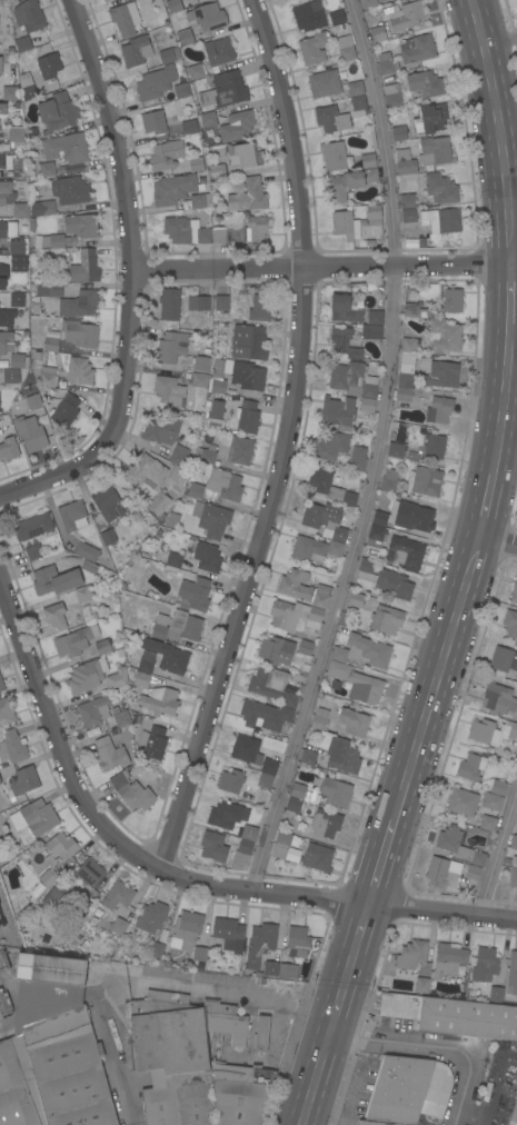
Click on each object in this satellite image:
building: (19, 0)
building: (102, 0)
building: (106, 0)
building: (173, 6)
building: (368, 7)
building: (29, 16)
building: (309, 16)
building: (406, 16)
building: (209, 17)
building: (125, 19)
building: (337, 19)
building: (377, 33)
building: (185, 37)
road: (499, 42)
building: (22, 43)
building: (312, 48)
building: (345, 48)
building: (418, 48)
building: (136, 50)
building: (218, 51)
building: (169, 54)
building: (386, 63)
building: (1, 64)
building: (49, 66)
building: (196, 70)
building: (156, 82)
building: (325, 83)
building: (425, 83)
building: (27, 86)
building: (356, 88)
building: (181, 90)
building: (225, 90)
building: (10, 93)
building: (392, 94)
building: (358, 102)
building: (2, 111)
building: (58, 111)
building: (208, 118)
building: (430, 118)
building: (331, 119)
building: (155, 121)
building: (237, 126)
building: (189, 127)
road: (381, 131)
building: (399, 132)
building: (16, 135)
road: (113, 135)
building: (67, 148)
building: (435, 150)
building: (166, 155)
building: (238, 155)
building: (335, 156)
building: (368, 160)
building: (405, 161)
building: (195, 163)
building: (47, 168)
building: (217, 171)
building: (350, 182)
building: (440, 188)
building: (172, 189)
building: (4, 190)
building: (71, 190)
building: (248, 196)
building: (198, 200)
building: (407, 200)
building: (42, 208)
building: (21, 209)
building: (374, 215)
building: (409, 215)
building: (440, 219)
building: (345, 223)
building: (81, 225)
building: (3, 228)
building: (256, 228)
building: (178, 230)
building: (219, 235)
building: (203, 236)
building: (410, 240)
building: (57, 241)
building: (19, 246)
building: (83, 266)
road: (321, 266)
building: (3, 272)
building: (54, 289)
building: (17, 299)
building: (451, 299)
building: (221, 301)
building: (199, 302)
building: (80, 303)
building: (169, 303)
building: (259, 308)
building: (344, 309)
building: (415, 310)
building: (374, 317)
building: (1, 318)
building: (371, 331)
building: (80, 332)
building: (444, 335)
building: (51, 339)
building: (6, 341)
building: (248, 342)
building: (344, 342)
building: (408, 345)
building: (171, 347)
building: (19, 360)
building: (201, 362)
road: (511, 368)
building: (79, 370)
building: (406, 370)
building: (441, 374)
building: (11, 375)
building: (48, 376)
building: (248, 376)
building: (217, 377)
building: (199, 379)
building: (352, 379)
building: (169, 390)
building: (404, 394)
building: (34, 401)
road: (505, 404)
building: (367, 405)
building: (216, 409)
building: (439, 409)
building: (66, 410)
building: (0, 411)
building: (338, 411)
road: (115, 417)
building: (247, 417)
building: (161, 429)
building: (30, 432)
road: (282, 441)
building: (331, 446)
building: (435, 446)
building: (9, 448)
building: (241, 449)
building: (395, 449)
building: (179, 455)
building: (208, 456)
building: (358, 458)
building: (145, 471)
building: (178, 475)
building: (389, 480)
building: (425, 481)
building: (219, 485)
building: (330, 487)
building: (106, 502)
building: (159, 502)
building: (320, 515)
building: (72, 516)
building: (405, 516)
building: (211, 519)
building: (173, 520)
building: (32, 526)
building: (339, 534)
building: (376, 536)
building: (108, 537)
road: (497, 539)
building: (335, 548)
building: (308, 549)
building: (34, 551)
building: (86, 551)
building: (407, 551)
building: (206, 556)
building: (172, 561)
building: (89, 566)
building: (366, 569)
building: (54, 579)
road: (339, 583)
building: (394, 584)
building: (304, 588)
building: (514, 591)
building: (195, 593)
building: (84, 596)
building: (356, 599)
building: (54, 615)
building: (295, 615)
building: (386, 619)
building: (510, 623)
building: (187, 625)
building: (159, 626)
building: (74, 640)
building: (103, 646)
building: (305, 647)
building: (277, 650)
building: (369, 650)
building: (339, 654)
building: (168, 656)
building: (504, 659)
building: (146, 661)
building: (87, 675)
building: (117, 678)
building: (140, 679)
building: (268, 683)
building: (357, 683)
building: (1, 684)
building: (498, 698)
building: (289, 699)
building: (159, 700)
building: (95, 710)
building: (6, 711)
building: (262, 711)
building: (120, 716)
building: (320, 718)
building: (354, 721)
building: (491, 731)
building: (153, 741)
road: (57, 745)
building: (12, 746)
building: (246, 749)
building: (109, 754)
building: (342, 755)
building: (308, 757)
building: (269, 766)
building: (471, 766)
building: (0, 780)
building: (231, 780)
building: (265, 780)
building: (21, 781)
building: (498, 787)
building: (131, 790)
building: (302, 792)
building: (336, 792)
building: (463, 802)
building: (491, 802)
building: (299, 806)
building: (227, 815)
building: (39, 816)
building: (326, 823)
building: (488, 823)
building: (249, 833)
building: (483, 833)
building: (513, 842)
building: (281, 844)
building: (61, 846)
building: (213, 846)
building: (459, 846)
road: (382, 849)
road: (498, 853)
building: (241, 855)
building: (317, 857)
building: (440, 869)
building: (89, 872)
building: (473, 872)
building: (513, 873)
building: (48, 878)
building: (61, 895)
building: (118, 895)
road: (339, 899)
building: (152, 916)
road: (360, 925)
building: (119, 926)
building: (186, 928)
building: (227, 932)
building: (260, 943)
building: (156, 949)
building: (294, 950)
building: (200, 953)
building: (411, 954)
building: (449, 959)
building: (484, 965)
building: (270, 968)
road: (349, 968)
building: (513, 974)
building: (421, 984)
road: (237, 985)
building: (47, 986)
building: (496, 995)
building: (167, 996)
road: (337, 1012)
building: (453, 1015)
building: (1, 1016)
building: (225, 1022)
building: (261, 1034)
road: (115, 1049)
road: (438, 1051)
building: (171, 1062)
building: (69, 1069)
road: (317, 1081)
building: (18, 1084)
road: (357, 1089)
building: (407, 1089)
building: (239, 1093)
road: (331, 1106)
building: (514, 1114)
building: (377, 1123)

